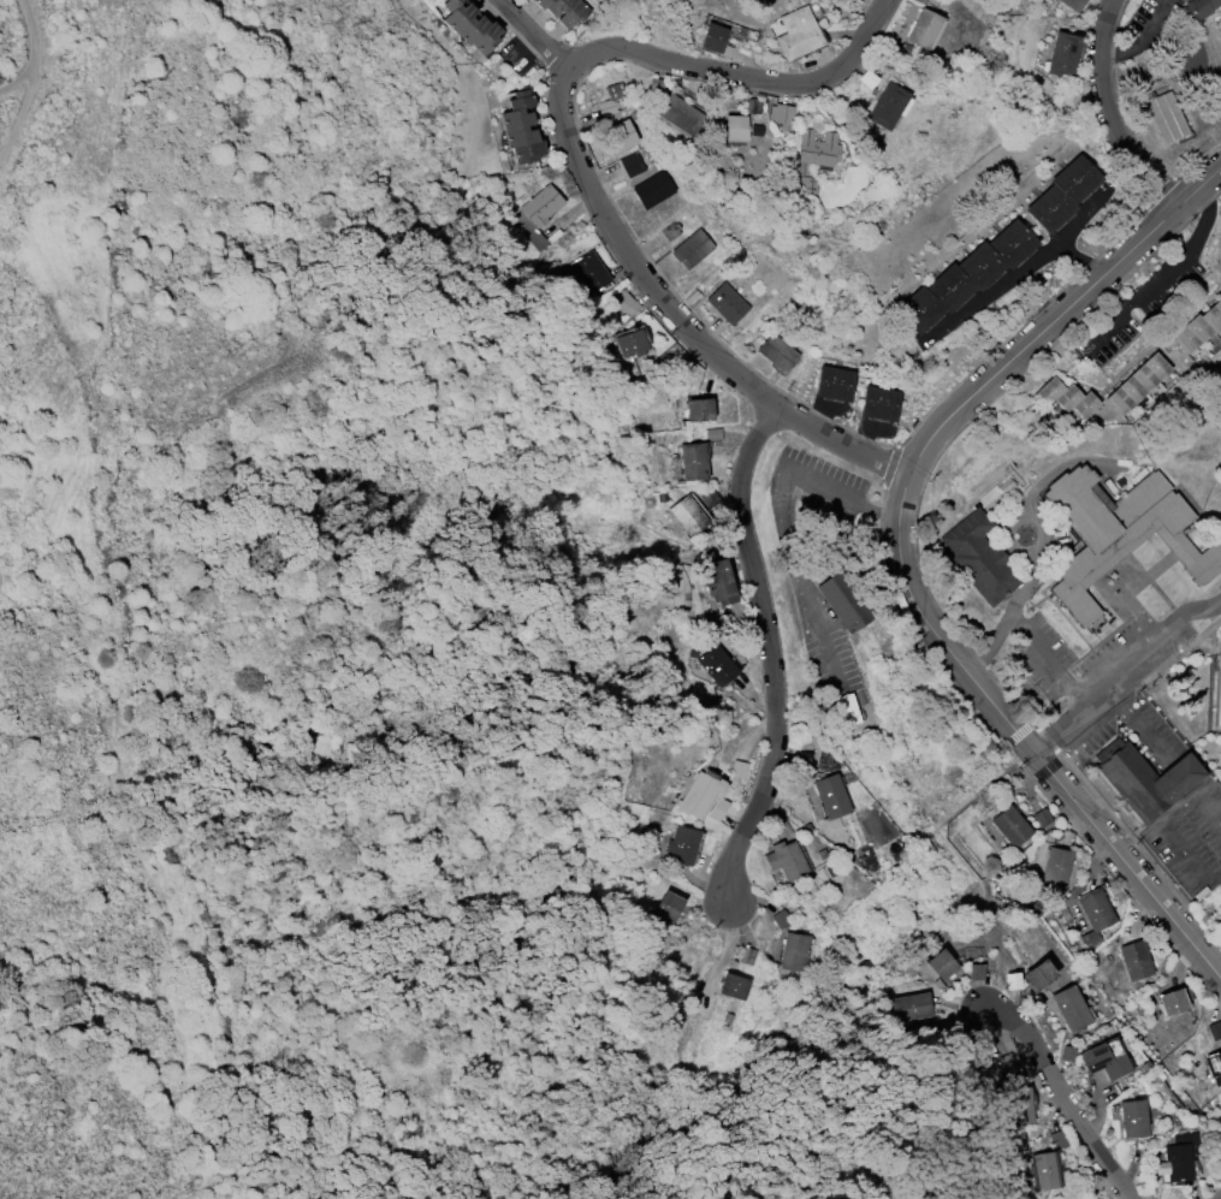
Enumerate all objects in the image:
building: (540, 2)
building: (1072, 4)
building: (450, 5)
building: (558, 6)
building: (1199, 8)
building: (573, 14)
building: (458, 16)
building: (472, 29)
building: (923, 29)
road: (32, 34)
building: (796, 34)
road: (534, 35)
building: (712, 37)
building: (486, 38)
road: (1138, 40)
building: (1062, 55)
road: (741, 73)
road: (19, 82)
building: (520, 99)
building: (611, 99)
building: (888, 106)
building: (677, 114)
building: (781, 114)
road: (1109, 114)
road: (19, 118)
building: (1166, 118)
building: (515, 119)
building: (733, 129)
building: (622, 135)
building: (518, 137)
building: (812, 150)
building: (527, 152)
building: (632, 165)
building: (652, 190)
building: (1061, 194)
building: (543, 204)
building: (528, 230)
building: (669, 232)
road: (1063, 237)
building: (692, 249)
building: (591, 272)
road: (1166, 274)
building: (964, 277)
road: (992, 290)
building: (727, 303)
road: (678, 317)
building: (1199, 327)
building: (630, 343)
building: (777, 352)
building: (834, 384)
building: (1137, 384)
building: (1066, 397)
building: (878, 403)
building: (698, 409)
building: (693, 462)
building: (687, 516)
road: (778, 520)
building: (1114, 524)
building: (979, 557)
road: (897, 560)
building: (718, 582)
building: (842, 601)
building: (1073, 601)
road: (769, 652)
road: (1051, 660)
building: (717, 665)
road: (1122, 669)
building: (1217, 693)
building: (846, 710)
road: (782, 714)
road: (1134, 725)
road: (1083, 731)
road: (1024, 756)
building: (1220, 759)
building: (1146, 780)
building: (700, 795)
building: (830, 796)
road: (1207, 809)
road: (896, 825)
building: (1010, 826)
road: (1174, 841)
building: (682, 845)
road: (960, 860)
building: (786, 861)
building: (1056, 867)
building: (668, 907)
building: (1096, 910)
building: (793, 952)
building: (746, 956)
building: (1136, 961)
building: (941, 964)
building: (976, 974)
building: (1037, 974)
building: (731, 986)
building: (1170, 1002)
building: (911, 1008)
building: (1069, 1008)
building: (1008, 1062)
building: (1102, 1062)
building: (1213, 1063)
road: (1063, 1099)
building: (1016, 1106)
building: (1132, 1118)
building: (1178, 1158)
building: (1043, 1171)
road: (822, 1195)
road: (1220, 1198)

